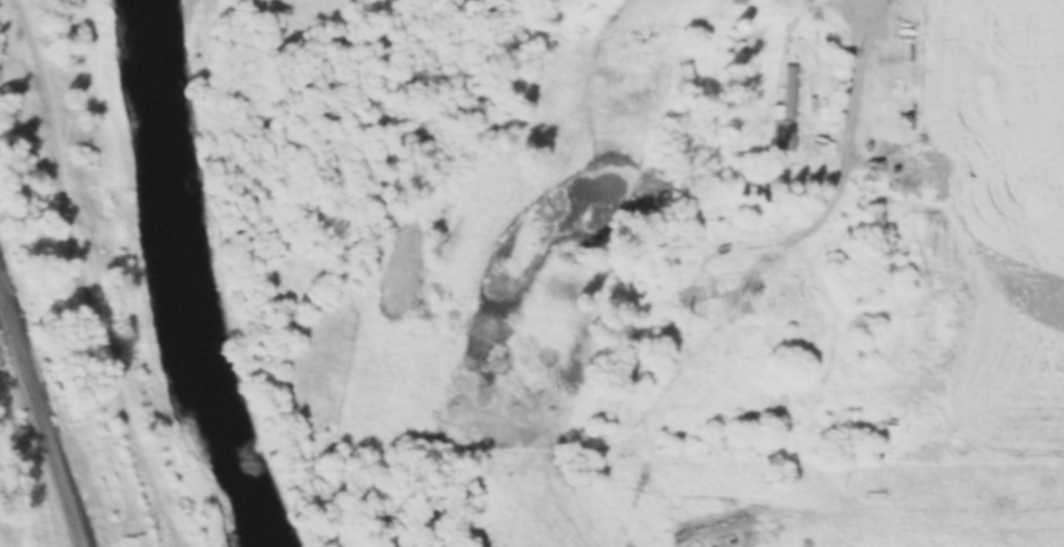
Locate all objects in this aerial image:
road: (850, 112)
building: (785, 113)
road: (73, 276)
river: (185, 279)
road: (828, 369)
railway: (38, 427)

